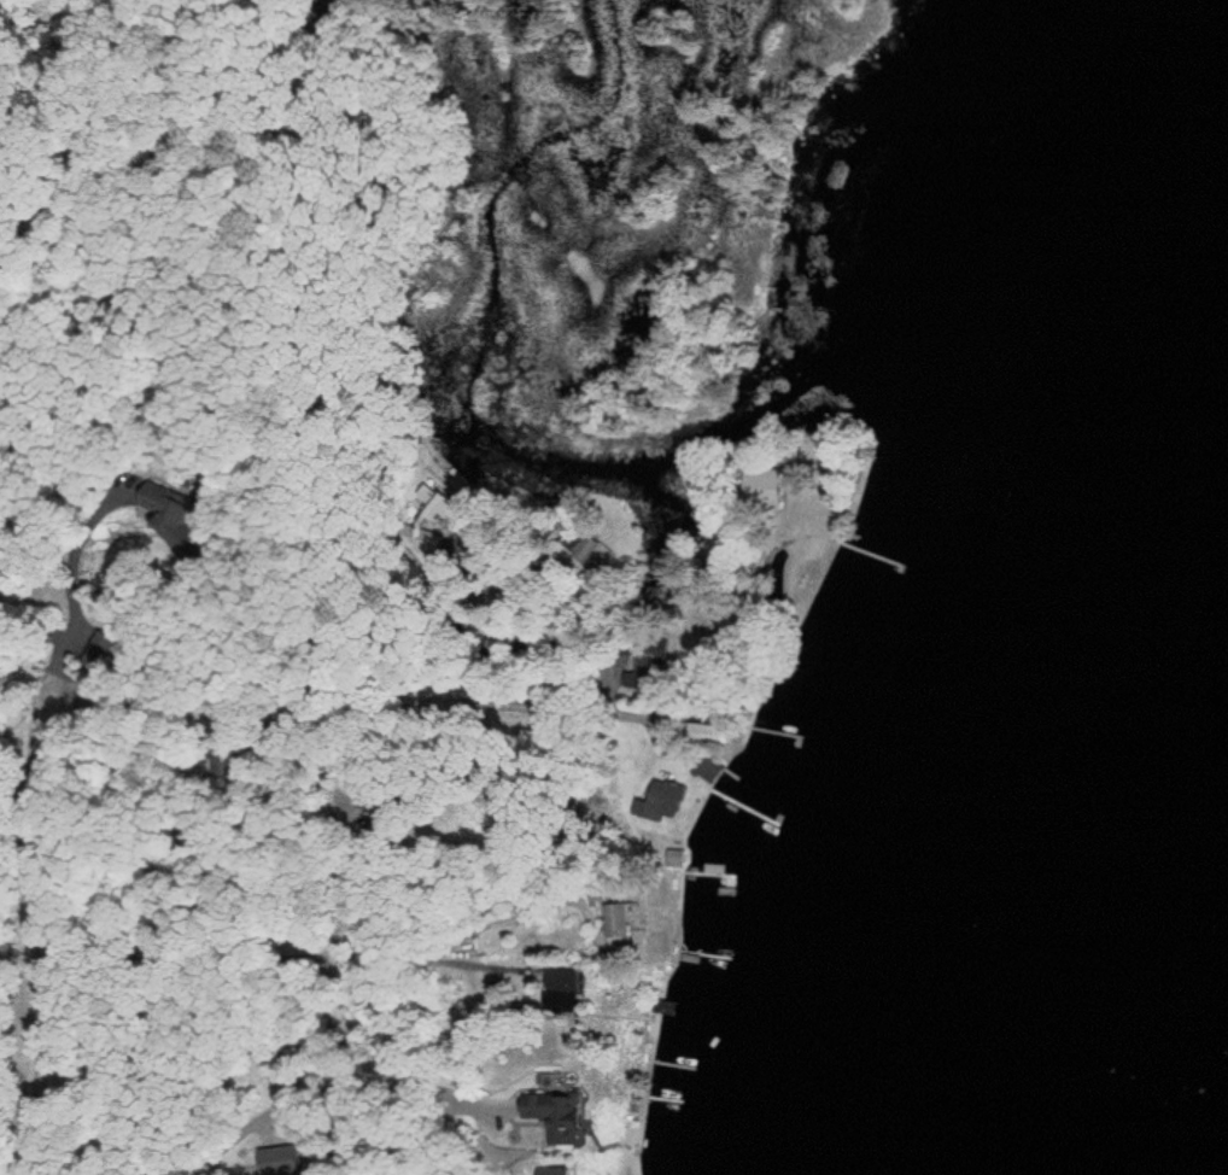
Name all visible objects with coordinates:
park: (381, 232)
building: (776, 489)
building: (171, 509)
road: (686, 656)
road: (279, 706)
building: (628, 923)
road: (314, 949)
building: (584, 989)
road: (45, 1022)
road: (270, 1064)
building: (567, 1118)
road: (351, 1121)
building: (273, 1162)

